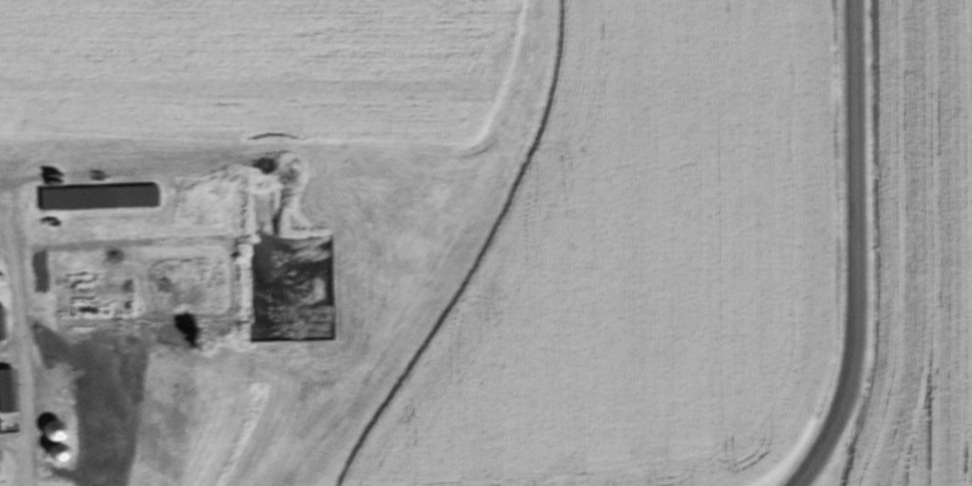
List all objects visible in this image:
building: (94, 199)
road: (853, 249)
building: (0, 325)
building: (5, 393)
building: (93, 429)

